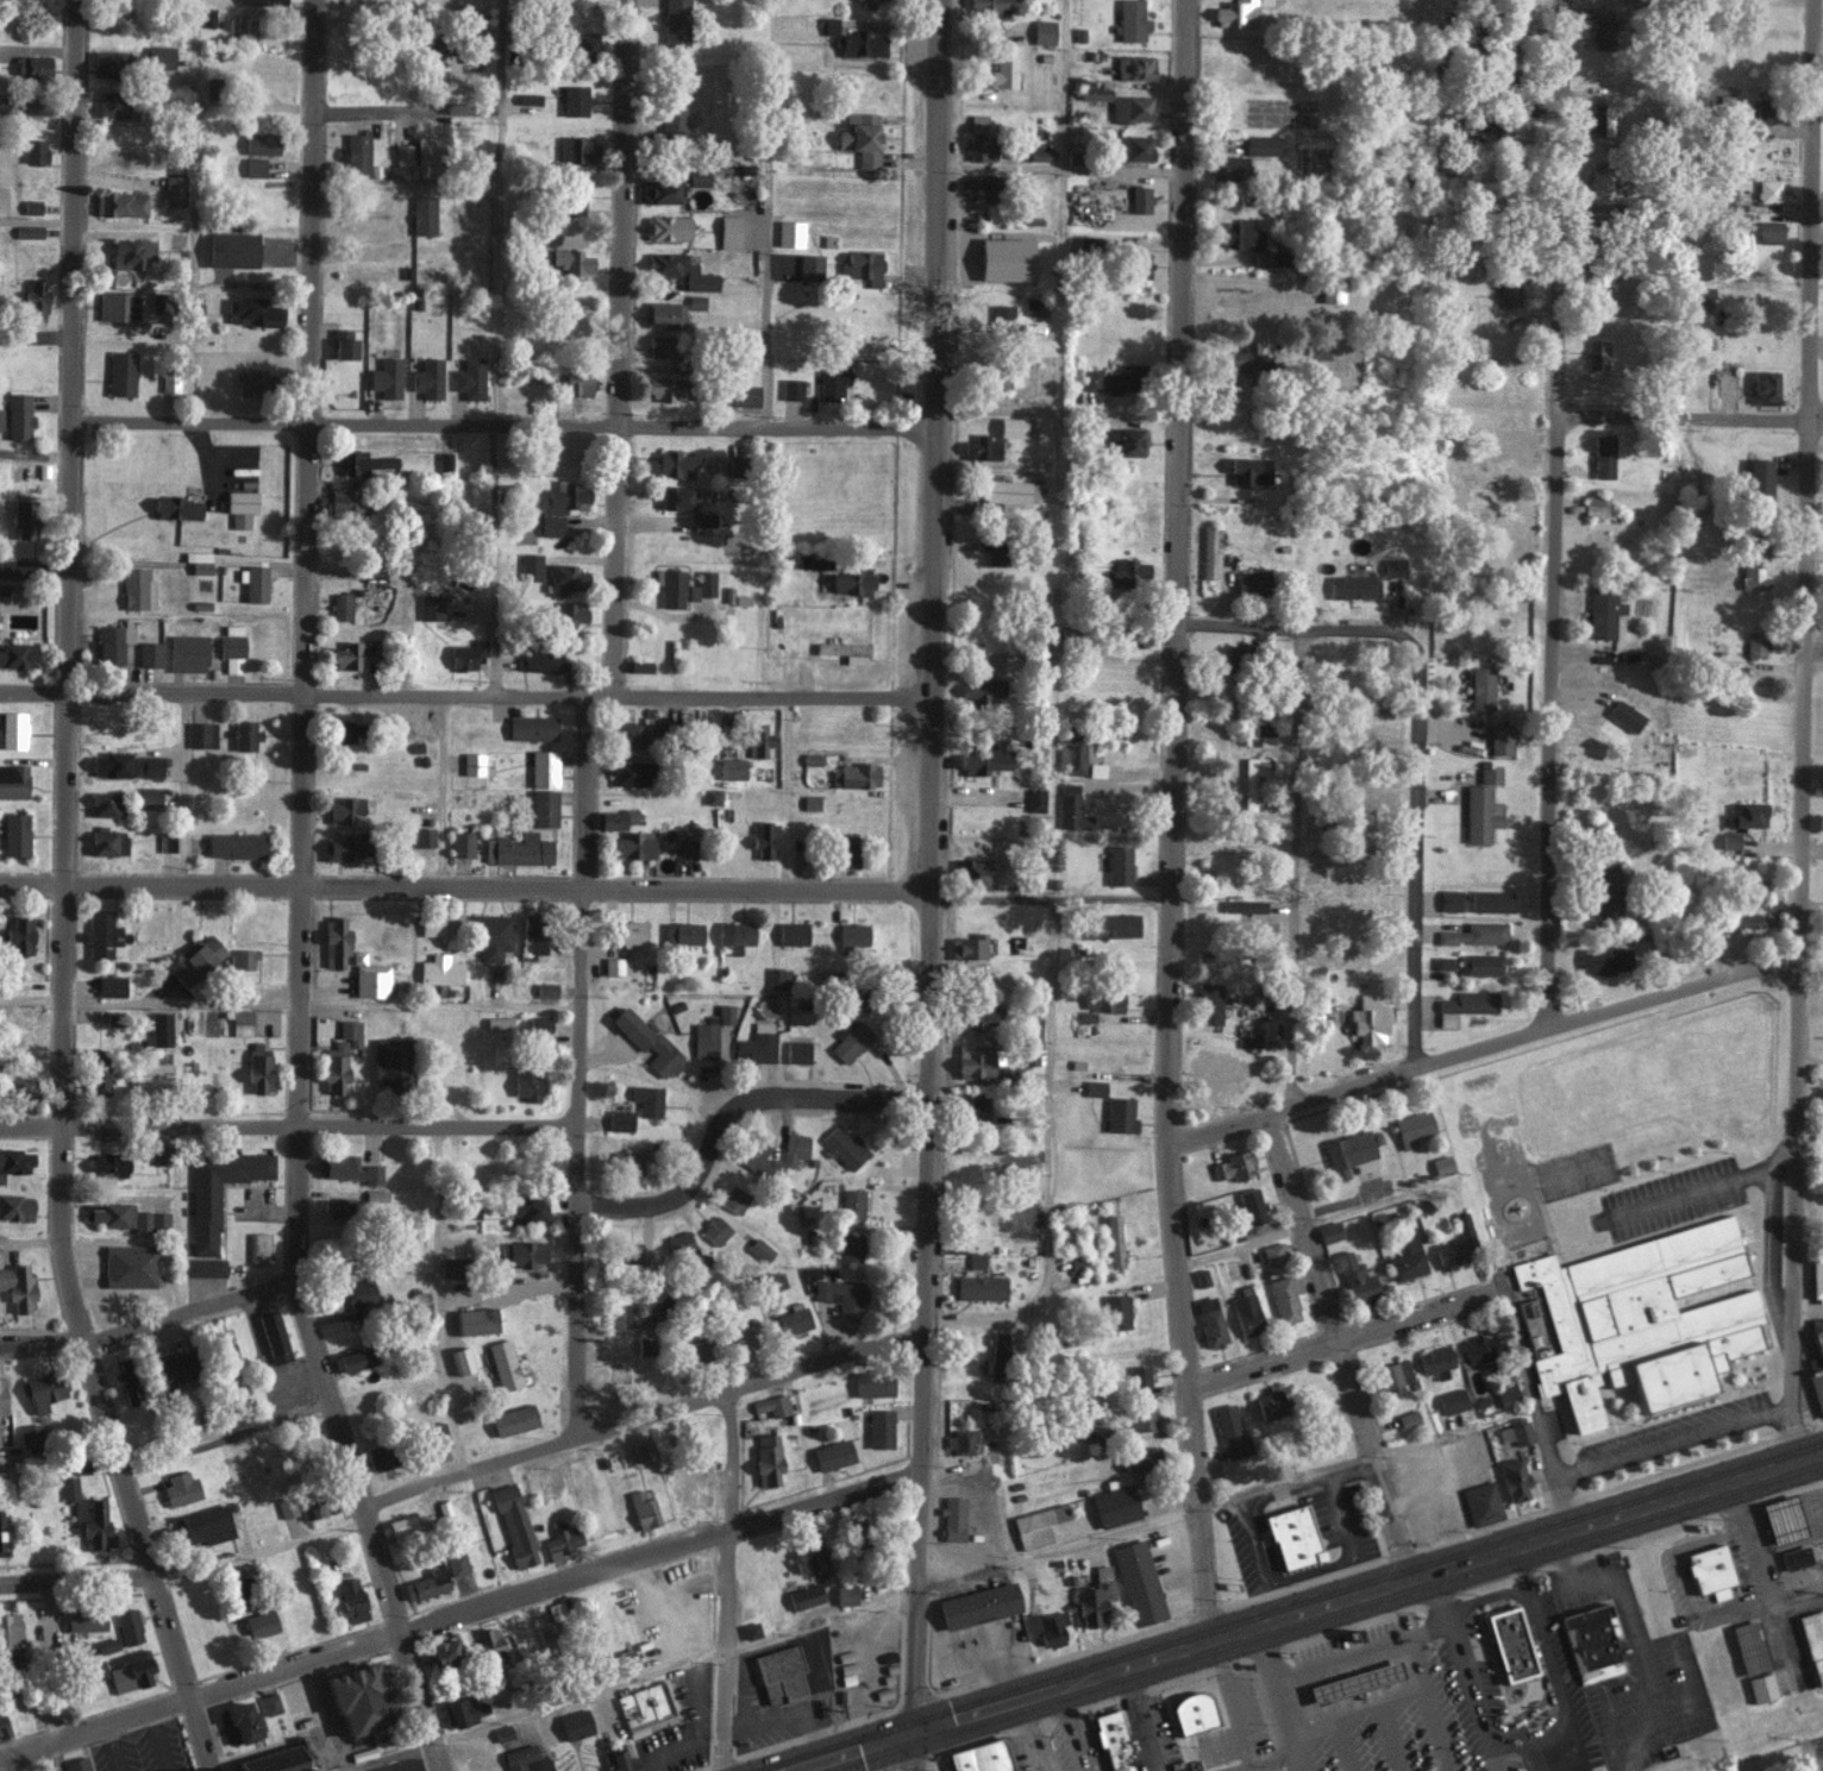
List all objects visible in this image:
building: (1035, 0)
building: (259, 1)
building: (871, 2)
building: (988, 5)
building: (1239, 12)
building: (207, 17)
building: (1130, 20)
building: (676, 23)
building: (1044, 31)
building: (1603, 33)
building: (434, 43)
building: (860, 44)
building: (581, 45)
road: (1816, 48)
building: (159, 56)
building: (104, 63)
building: (31, 65)
building: (1134, 67)
building: (1003, 70)
building: (1094, 93)
building: (527, 98)
building: (574, 100)
building: (112, 105)
road: (271, 106)
building: (1130, 108)
building: (1768, 111)
building: (674, 114)
building: (1602, 119)
building: (977, 123)
building: (859, 137)
building: (261, 143)
building: (1261, 144)
building: (1134, 146)
building: (981, 147)
building: (430, 149)
building: (571, 149)
building: (33, 151)
building: (357, 153)
building: (402, 153)
building: (1040, 155)
building: (253, 167)
building: (1228, 168)
road: (1063, 170)
building: (698, 177)
building: (977, 186)
building: (1599, 187)
building: (174, 190)
building: (746, 190)
building: (1768, 190)
building: (660, 191)
building: (2, 196)
building: (1140, 199)
building: (119, 203)
building: (31, 206)
building: (576, 207)
road: (194, 209)
building: (422, 214)
road: (36, 226)
building: (666, 227)
building: (27, 231)
building: (729, 231)
building: (1769, 232)
building: (789, 233)
building: (1239, 234)
building: (232, 249)
building: (131, 252)
building: (1261, 257)
building: (1006, 258)
building: (572, 260)
building: (810, 266)
building: (862, 266)
building: (681, 270)
building: (1598, 270)
road: (766, 290)
building: (1508, 290)
building: (33, 295)
building: (696, 301)
building: (117, 306)
building: (1038, 307)
building: (252, 312)
building: (663, 314)
road: (35, 338)
building: (343, 343)
road: (496, 346)
building: (662, 346)
road: (618, 347)
building: (1597, 353)
building: (1245, 357)
building: (120, 373)
building: (1004, 376)
building: (386, 377)
building: (427, 377)
building: (469, 377)
building: (832, 379)
building: (1089, 379)
building: (248, 381)
building: (169, 382)
building: (577, 382)
building: (1117, 383)
building: (1765, 387)
building: (669, 388)
building: (791, 389)
building: (745, 395)
road: (1058, 413)
building: (18, 415)
road: (1689, 416)
building: (0, 417)
road: (503, 423)
building: (1011, 427)
building: (1126, 441)
building: (981, 448)
building: (562, 452)
building: (1603, 456)
road: (33, 458)
building: (444, 460)
building: (364, 464)
building: (674, 464)
building: (715, 465)
building: (1249, 470)
building: (1760, 476)
building: (1011, 491)
building: (676, 497)
building: (345, 498)
building: (1595, 504)
building: (559, 505)
building: (239, 507)
building: (176, 508)
road: (1552, 513)
building: (21, 517)
building: (703, 520)
building: (994, 549)
building: (1208, 552)
building: (820, 559)
building: (199, 561)
building: (1754, 565)
building: (530, 566)
building: (1393, 567)
building: (1127, 571)
road: (33, 572)
building: (374, 573)
building: (564, 578)
building: (852, 582)
building: (1251, 582)
building: (255, 584)
building: (702, 585)
building: (1353, 585)
building: (133, 588)
building: (340, 605)
building: (431, 607)
building: (1603, 613)
building: (566, 614)
road: (1292, 630)
building: (108, 643)
building: (1755, 643)
building: (231, 647)
building: (845, 651)
building: (187, 653)
building: (149, 654)
building: (352, 654)
building: (466, 654)
building: (1235, 654)
building: (17, 655)
building: (543, 660)
road: (1053, 660)
building: (639, 666)
building: (1481, 687)
building: (982, 690)
road: (468, 695)
building: (1625, 715)
building: (532, 728)
building: (12, 730)
building: (342, 731)
road: (1804, 731)
building: (632, 734)
building: (1264, 734)
building: (198, 735)
building: (244, 735)
road: (934, 737)
building: (757, 740)
building: (1499, 740)
building: (1075, 754)
building: (810, 758)
building: (984, 759)
building: (111, 764)
building: (472, 764)
building: (148, 766)
building: (543, 768)
building: (732, 768)
building: (1096, 770)
building: (629, 773)
building: (854, 775)
building: (1489, 775)
building: (1252, 779)
building: (13, 781)
road: (187, 787)
road: (440, 790)
building: (1367, 790)
building: (150, 796)
building: (712, 797)
building: (1034, 799)
building: (106, 803)
building: (543, 808)
building: (344, 810)
building: (1071, 814)
building: (1480, 814)
building: (1747, 815)
building: (616, 818)
road: (1170, 819)
building: (14, 834)
building: (419, 837)
building: (764, 840)
building: (1730, 840)
building: (165, 841)
building: (106, 842)
building: (462, 843)
building: (234, 844)
building: (633, 844)
building: (344, 848)
building: (518, 849)
building: (685, 849)
building: (846, 852)
road: (1418, 854)
building: (1323, 859)
building: (1117, 866)
road: (1296, 868)
building: (971, 873)
road: (465, 886)
building: (1755, 892)
building: (1609, 894)
road: (61, 897)
road: (297, 897)
building: (1451, 900)
building: (1491, 900)
road: (1050, 902)
building: (1243, 906)
road: (1054, 917)
building: (1749, 921)
building: (431, 925)
building: (1113, 925)
building: (632, 932)
building: (682, 932)
building: (793, 932)
building: (532, 934)
building: (1476, 934)
building: (102, 935)
building: (491, 935)
building: (735, 935)
building: (853, 935)
building: (19, 936)
building: (336, 942)
building: (969, 947)
building: (244, 959)
building: (1338, 959)
building: (196, 960)
building: (1605, 960)
building: (1208, 962)
building: (1443, 962)
building: (1481, 965)
building: (616, 966)
building: (440, 971)
building: (778, 976)
building: (111, 986)
building: (545, 990)
building: (1318, 998)
building: (1209, 1004)
road: (289, 1005)
building: (1100, 1005)
building: (1465, 1005)
building: (725, 1013)
building: (981, 1017)
building: (111, 1018)
building: (1370, 1020)
building: (242, 1022)
building: (499, 1023)
building: (538, 1025)
building: (350, 1031)
building: (706, 1038)
building: (646, 1041)
building: (850, 1041)
building: (757, 1044)
road: (1481, 1048)
building: (797, 1051)
building: (389, 1062)
building: (975, 1062)
road: (580, 1065)
building: (334, 1067)
building: (258, 1068)
building: (151, 1073)
building: (99, 1075)
building: (526, 1082)
building: (18, 1086)
building: (1095, 1088)
building: (647, 1100)
road: (720, 1101)
building: (975, 1109)
building: (1120, 1114)
building: (620, 1119)
road: (289, 1125)
building: (1414, 1128)
building: (844, 1147)
building: (795, 1148)
building: (1349, 1153)
building: (159, 1154)
building: (14, 1160)
building: (629, 1161)
building: (107, 1164)
building: (337, 1164)
building: (1442, 1164)
building: (1234, 1166)
building: (371, 1173)
road: (1690, 1192)
building: (734, 1198)
building: (852, 1202)
building: (14, 1205)
building: (332, 1205)
building: (1251, 1205)
building: (526, 1208)
building: (465, 1210)
building: (203, 1216)
building: (130, 1217)
road: (1313, 1224)
building: (715, 1229)
building: (1123, 1229)
building: (1328, 1231)
road: (1767, 1237)
building: (1113, 1239)
road: (30, 1242)
building: (682, 1245)
building: (1456, 1245)
building: (851, 1246)
building: (759, 1249)
building: (628, 1250)
building: (521, 1252)
building: (1272, 1254)
building: (1407, 1260)
building: (1078, 1264)
building: (129, 1266)
building: (446, 1266)
building: (203, 1267)
building: (1202, 1276)
building: (1357, 1279)
building: (1817, 1279)
building: (17, 1286)
building: (981, 1287)
road: (506, 1290)
building: (840, 1293)
building: (351, 1294)
road: (434, 1299)
building: (1283, 1299)
road: (1456, 1301)
building: (1116, 1311)
building: (1246, 1312)
building: (620, 1314)
building: (1640, 1317)
building: (476, 1320)
building: (1210, 1320)
road: (146, 1321)
building: (272, 1334)
building: (744, 1334)
road: (1339, 1344)
building: (1479, 1346)
building: (1539, 1346)
building: (696, 1349)
building: (225, 1350)
building: (997, 1355)
building: (353, 1358)
building: (1435, 1358)
building: (461, 1359)
building: (503, 1363)
building: (173, 1368)
building: (1818, 1368)
building: (1395, 1374)
building: (1139, 1375)
building: (126, 1377)
building: (872, 1383)
building: (43, 1389)
building: (1, 1395)
building: (1506, 1395)
building: (1454, 1400)
building: (1271, 1403)
building: (771, 1405)
road: (639, 1415)
building: (1408, 1418)
building: (513, 1419)
building: (1138, 1419)
building: (879, 1427)
building: (1229, 1430)
building: (1516, 1430)
building: (29, 1433)
road: (221, 1434)
building: (437, 1434)
building: (961, 1440)
road: (1672, 1442)
building: (644, 1449)
road: (55, 1451)
building: (832, 1453)
building: (380, 1455)
building: (1140, 1457)
road: (1819, 1457)
building: (768, 1459)
building: (1515, 1478)
building: (178, 1487)
building: (688, 1489)
building: (1480, 1501)
building: (314, 1502)
building: (1115, 1505)
building: (286, 1506)
building: (643, 1508)
building: (88, 1514)
building: (952, 1518)
building: (1777, 1519)
building: (406, 1524)
building: (201, 1525)
building: (513, 1525)
building: (1038, 1525)
building: (2, 1532)
building: (1293, 1536)
building: (562, 1540)
building: (808, 1552)
road: (259, 1553)
building: (1794, 1557)
building: (456, 1563)
building: (1703, 1568)
road: (74, 1575)
road: (729, 1580)
building: (1138, 1581)
building: (426, 1582)
road: (1362, 1589)
building: (846, 1594)
road: (1495, 1594)
building: (804, 1595)
building: (1095, 1597)
building: (351, 1600)
road: (920, 1604)
building: (978, 1604)
road: (862, 1610)
road: (458, 1612)
building: (84, 1619)
road: (1437, 1621)
building: (259, 1622)
building: (129, 1625)
building: (1046, 1626)
building: (8, 1628)
building: (750, 1629)
building: (838, 1629)
building: (545, 1632)
building: (1590, 1638)
road: (50, 1639)
building: (1813, 1640)
road: (1639, 1641)
building: (1516, 1643)
building: (107, 1645)
building: (490, 1646)
building: (1749, 1646)
building: (839, 1648)
building: (443, 1652)
road: (1366, 1653)
road: (1478, 1666)
building: (130, 1670)
building: (779, 1673)
road: (1558, 1676)
building: (1355, 1681)
building: (1761, 1687)
building: (357, 1696)
road: (1272, 1697)
road: (1227, 1700)
road: (44, 1702)
building: (269, 1703)
building: (464, 1710)
road: (1362, 1710)
building: (1194, 1712)
road: (1149, 1716)
building: (240, 1721)
building: (575, 1723)
building: (2, 1725)
road: (1618, 1725)
road: (1078, 1727)
building: (502, 1732)
traffic signals: (906, 1733)
road: (1030, 1734)
building: (1113, 1739)
road: (1387, 1739)
road: (896, 1751)
road: (1346, 1751)
road: (846, 1752)
building: (519, 1757)
building: (981, 1757)
building: (619, 1758)
building: (277, 1759)
building: (76, 1764)
road: (1249, 1766)

